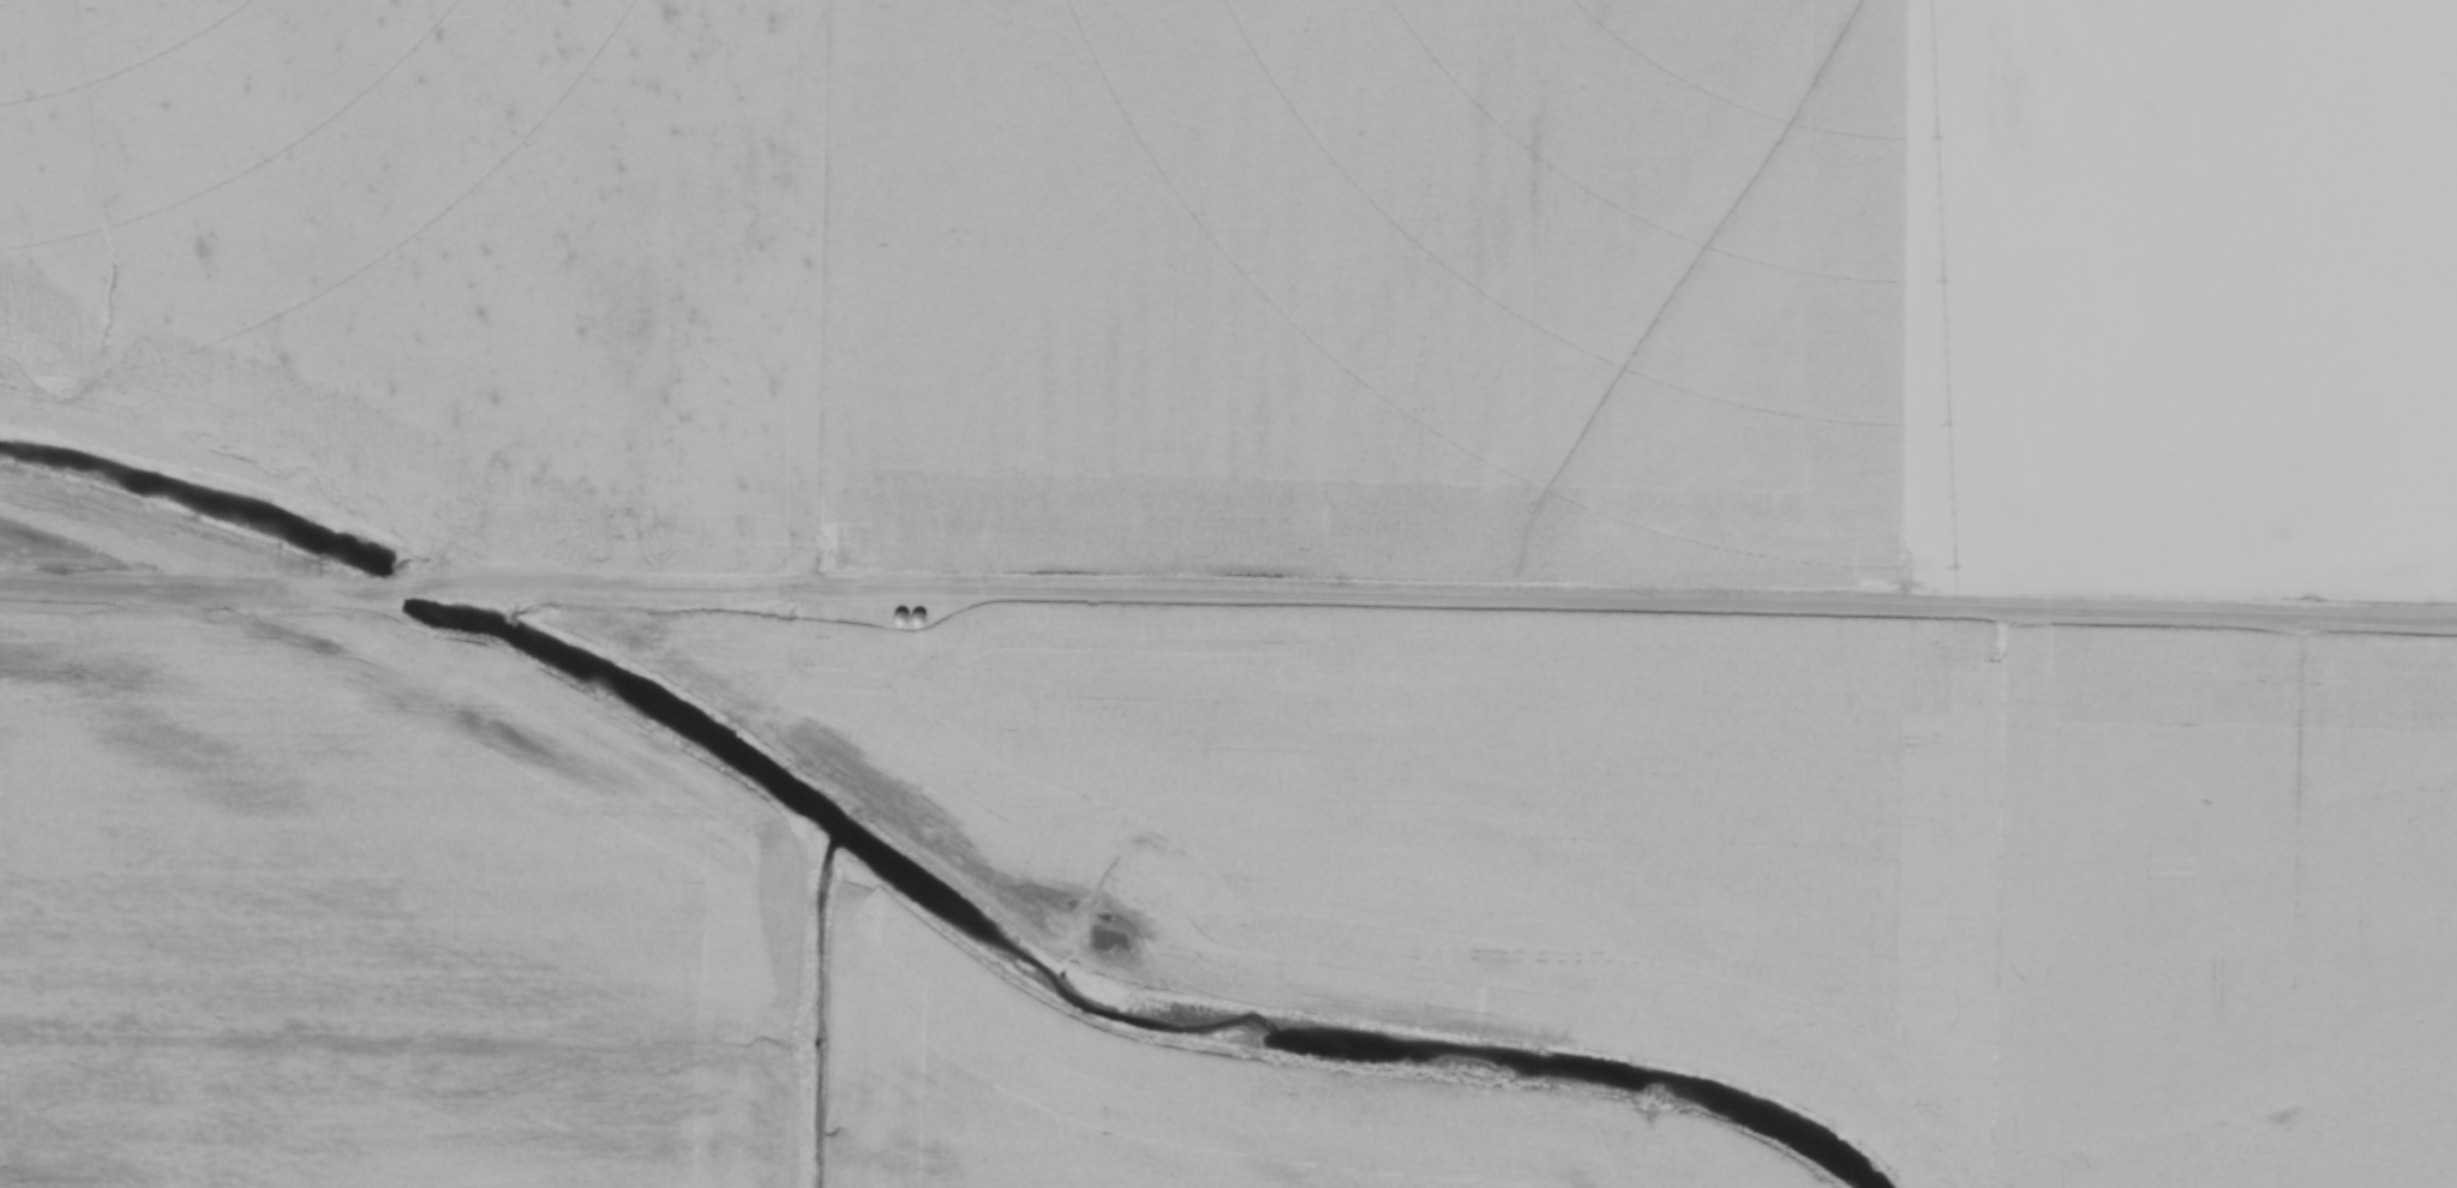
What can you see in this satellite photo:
road: (1228, 560)

